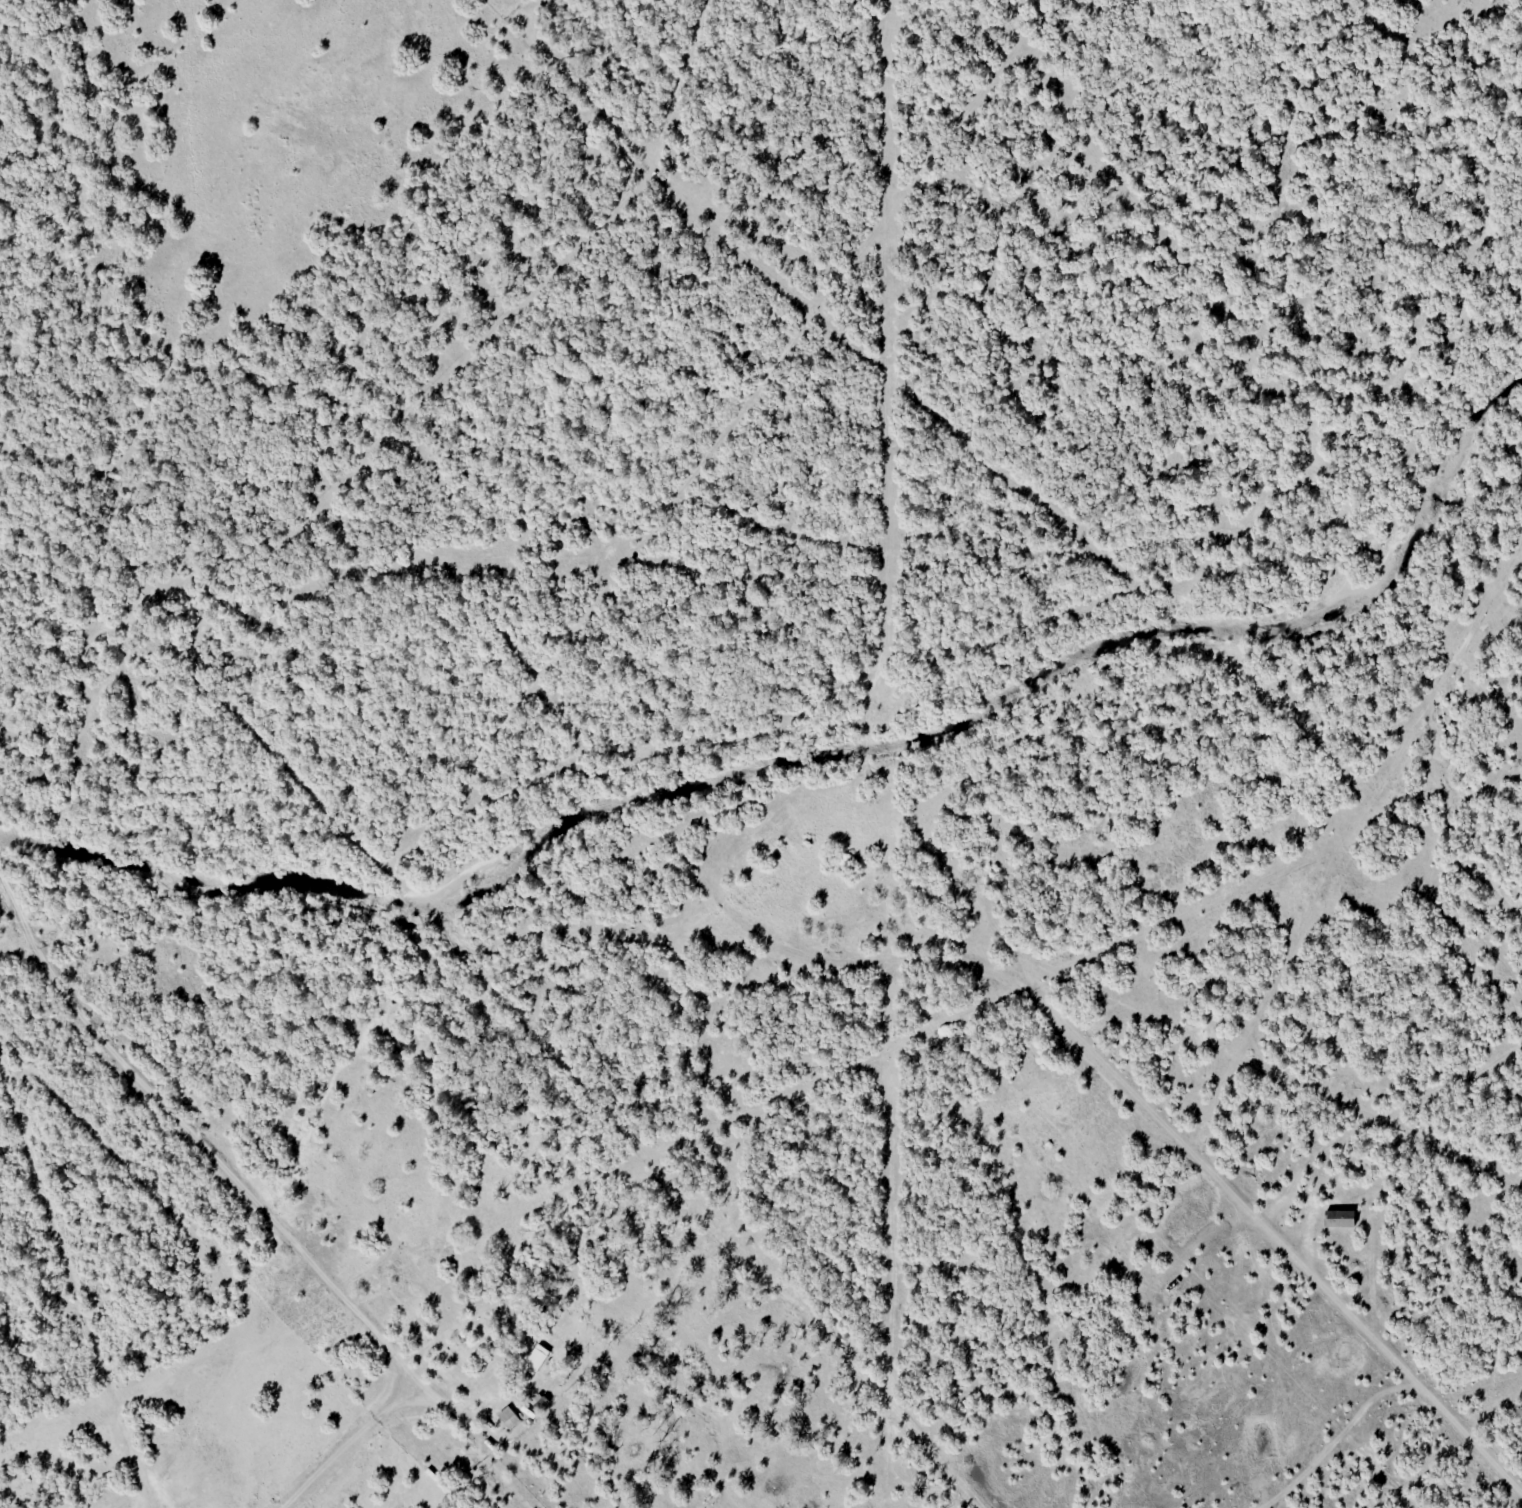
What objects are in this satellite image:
road: (227, 1179)
building: (1342, 1219)
building: (538, 1360)
building: (510, 1418)

